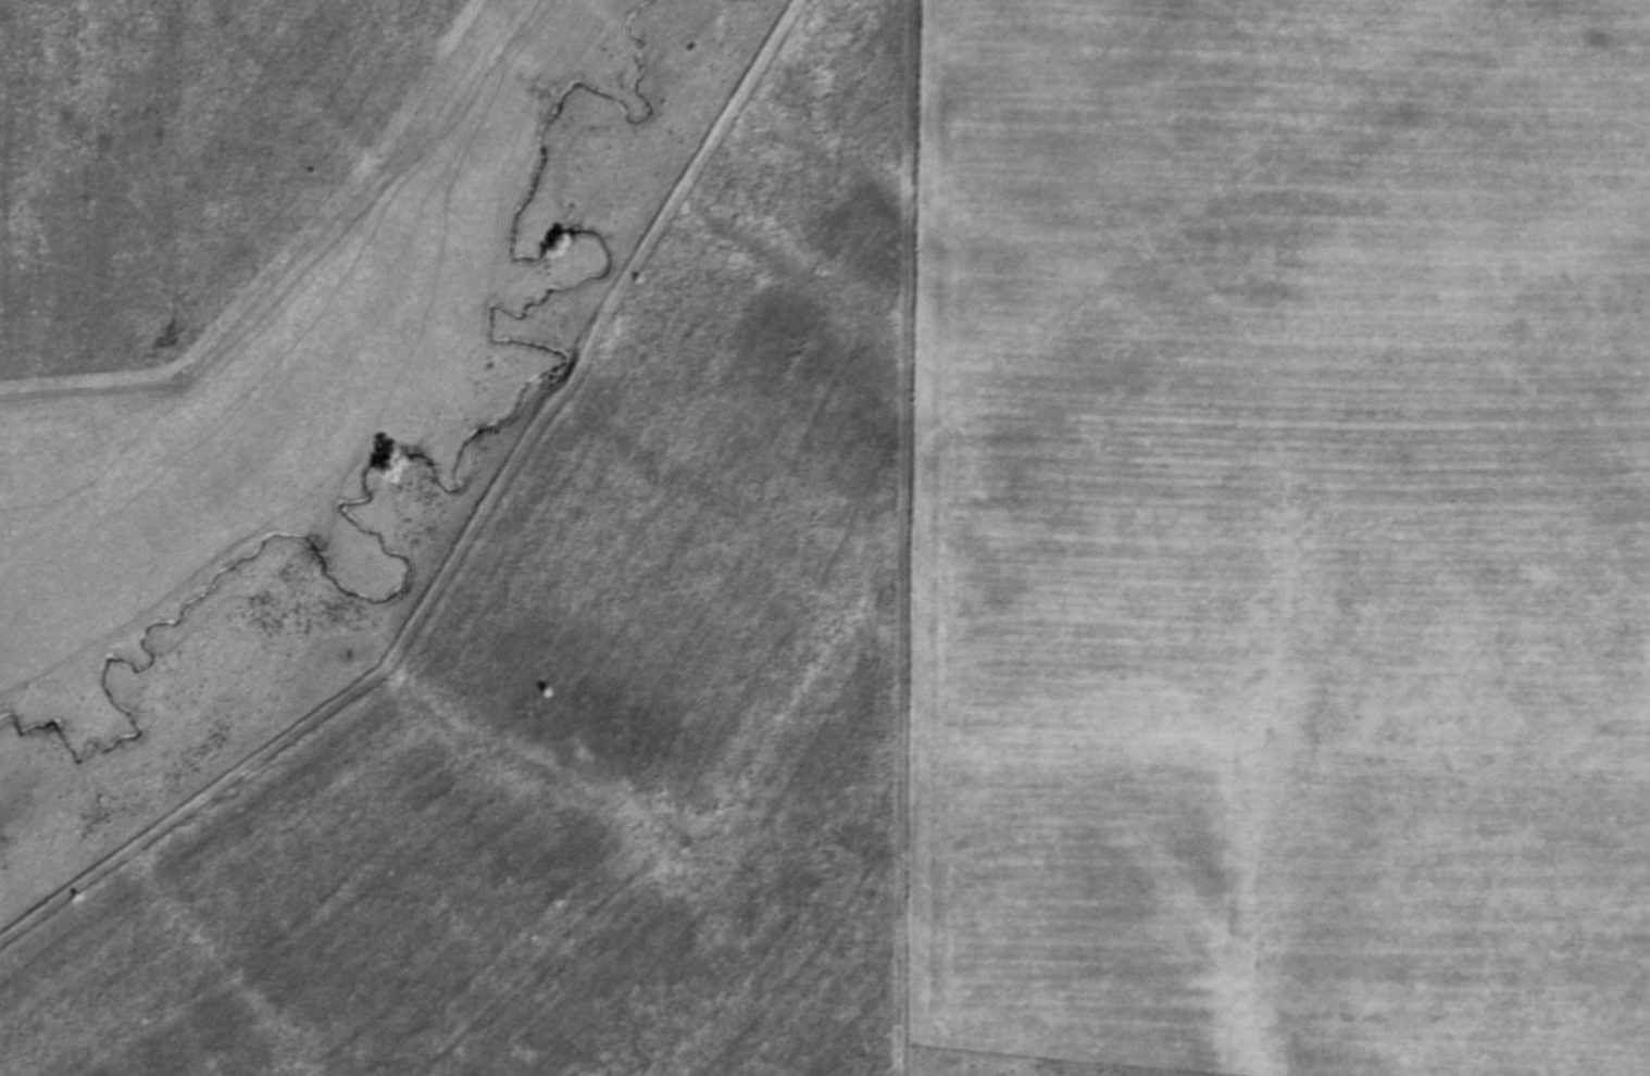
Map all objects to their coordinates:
road: (291, 273)

